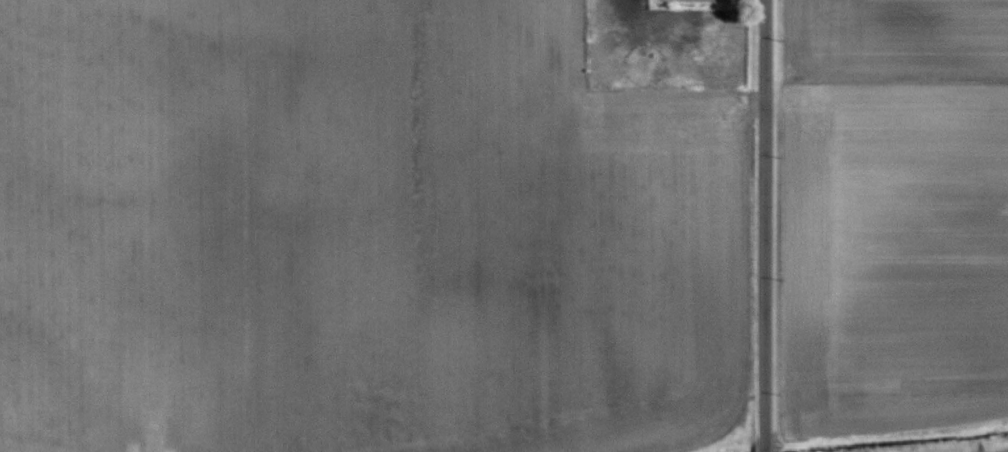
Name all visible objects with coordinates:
road: (762, 225)
crop: (885, 226)
crop: (362, 234)

